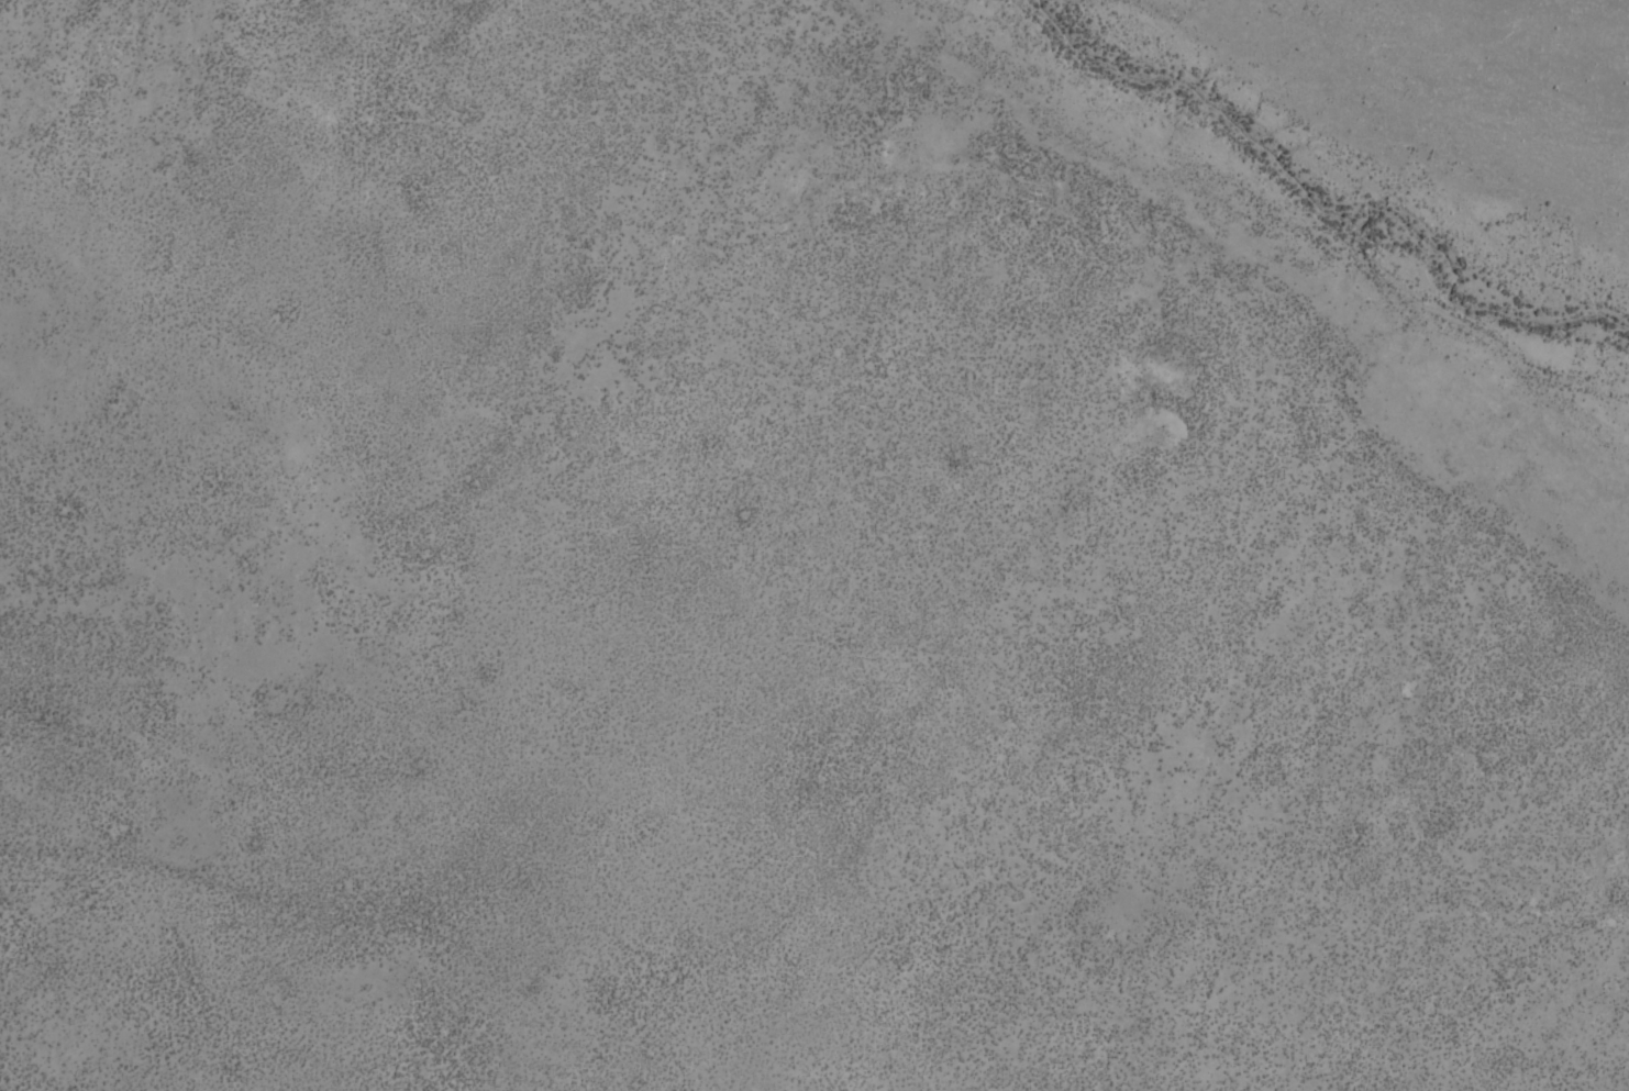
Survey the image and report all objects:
river: (1325, 202)

